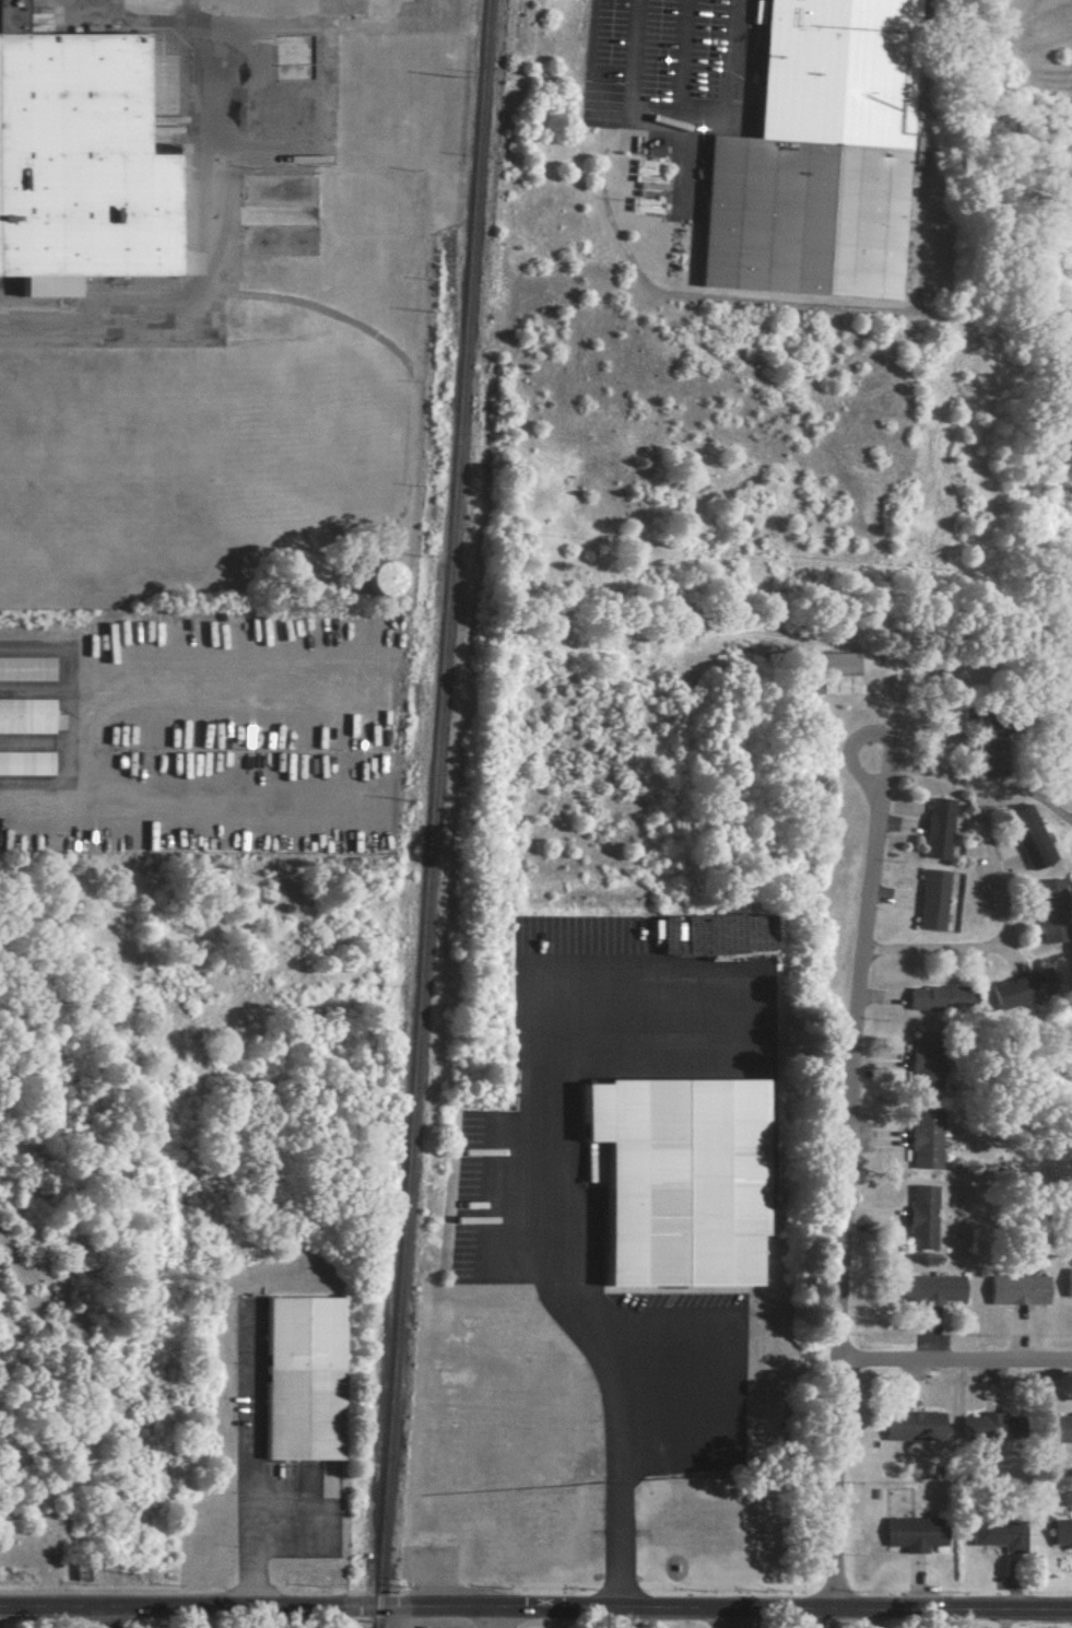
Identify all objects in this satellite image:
building: (10, 32)
road: (682, 122)
building: (810, 161)
road: (205, 206)
building: (374, 576)
building: (24, 668)
building: (834, 672)
building: (23, 714)
road: (849, 736)
building: (1062, 756)
building: (24, 762)
road: (1026, 784)
railway: (429, 813)
building: (934, 828)
building: (1027, 835)
road: (1003, 882)
building: (1047, 893)
building: (929, 900)
building: (1048, 929)
building: (1013, 989)
building: (935, 997)
building: (921, 1069)
building: (921, 1139)
building: (590, 1164)
building: (670, 1182)
road: (846, 1185)
building: (918, 1217)
building: (1067, 1283)
building: (929, 1289)
building: (1015, 1289)
road: (573, 1313)
road: (953, 1358)
building: (298, 1375)
building: (911, 1426)
building: (977, 1426)
building: (1061, 1428)
road: (250, 1460)
building: (1060, 1532)
building: (912, 1533)
building: (997, 1534)
road: (535, 1607)
road: (107, 1617)
road: (267, 1617)
road: (493, 1617)
road: (716, 1619)

